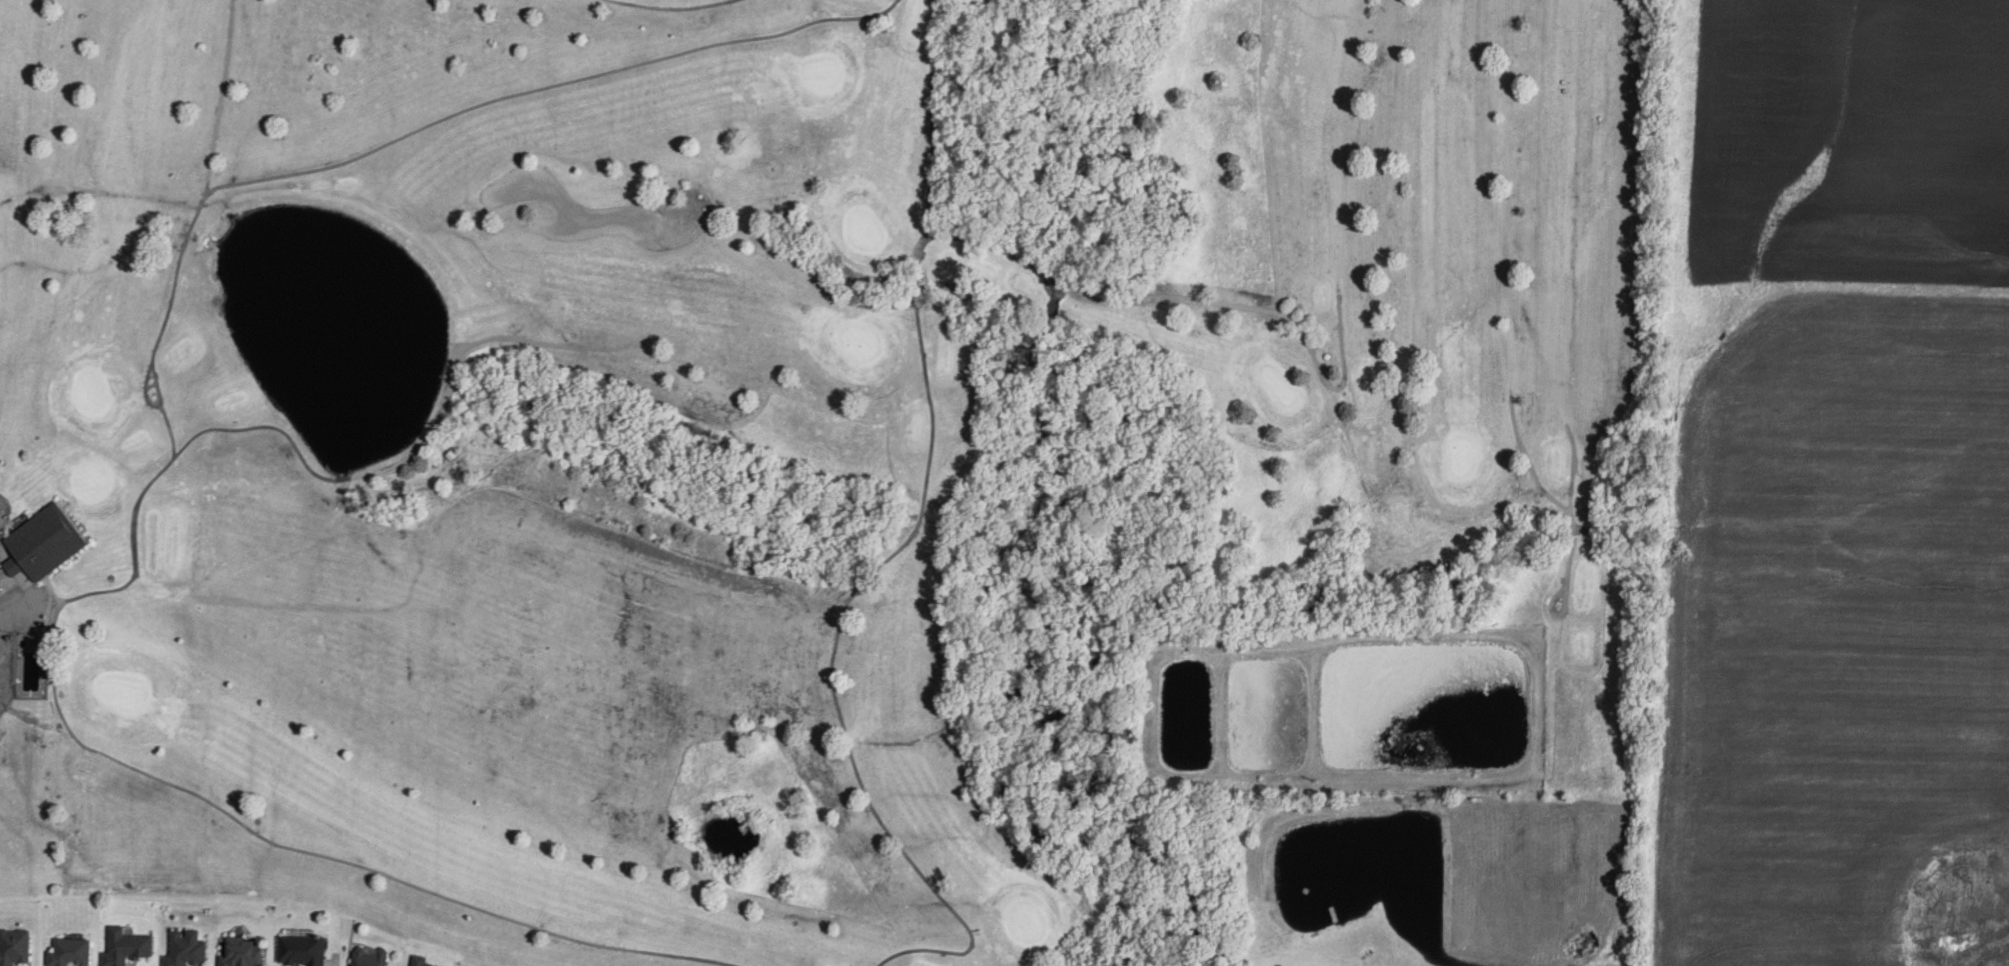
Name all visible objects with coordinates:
crop: (1826, 156)
park: (733, 417)
building: (452, 455)
building: (42, 544)
crop: (1827, 625)
building: (15, 946)
building: (125, 946)
building: (301, 949)
building: (186, 950)
building: (69, 952)
building: (241, 953)
building: (368, 958)
building: (419, 961)

